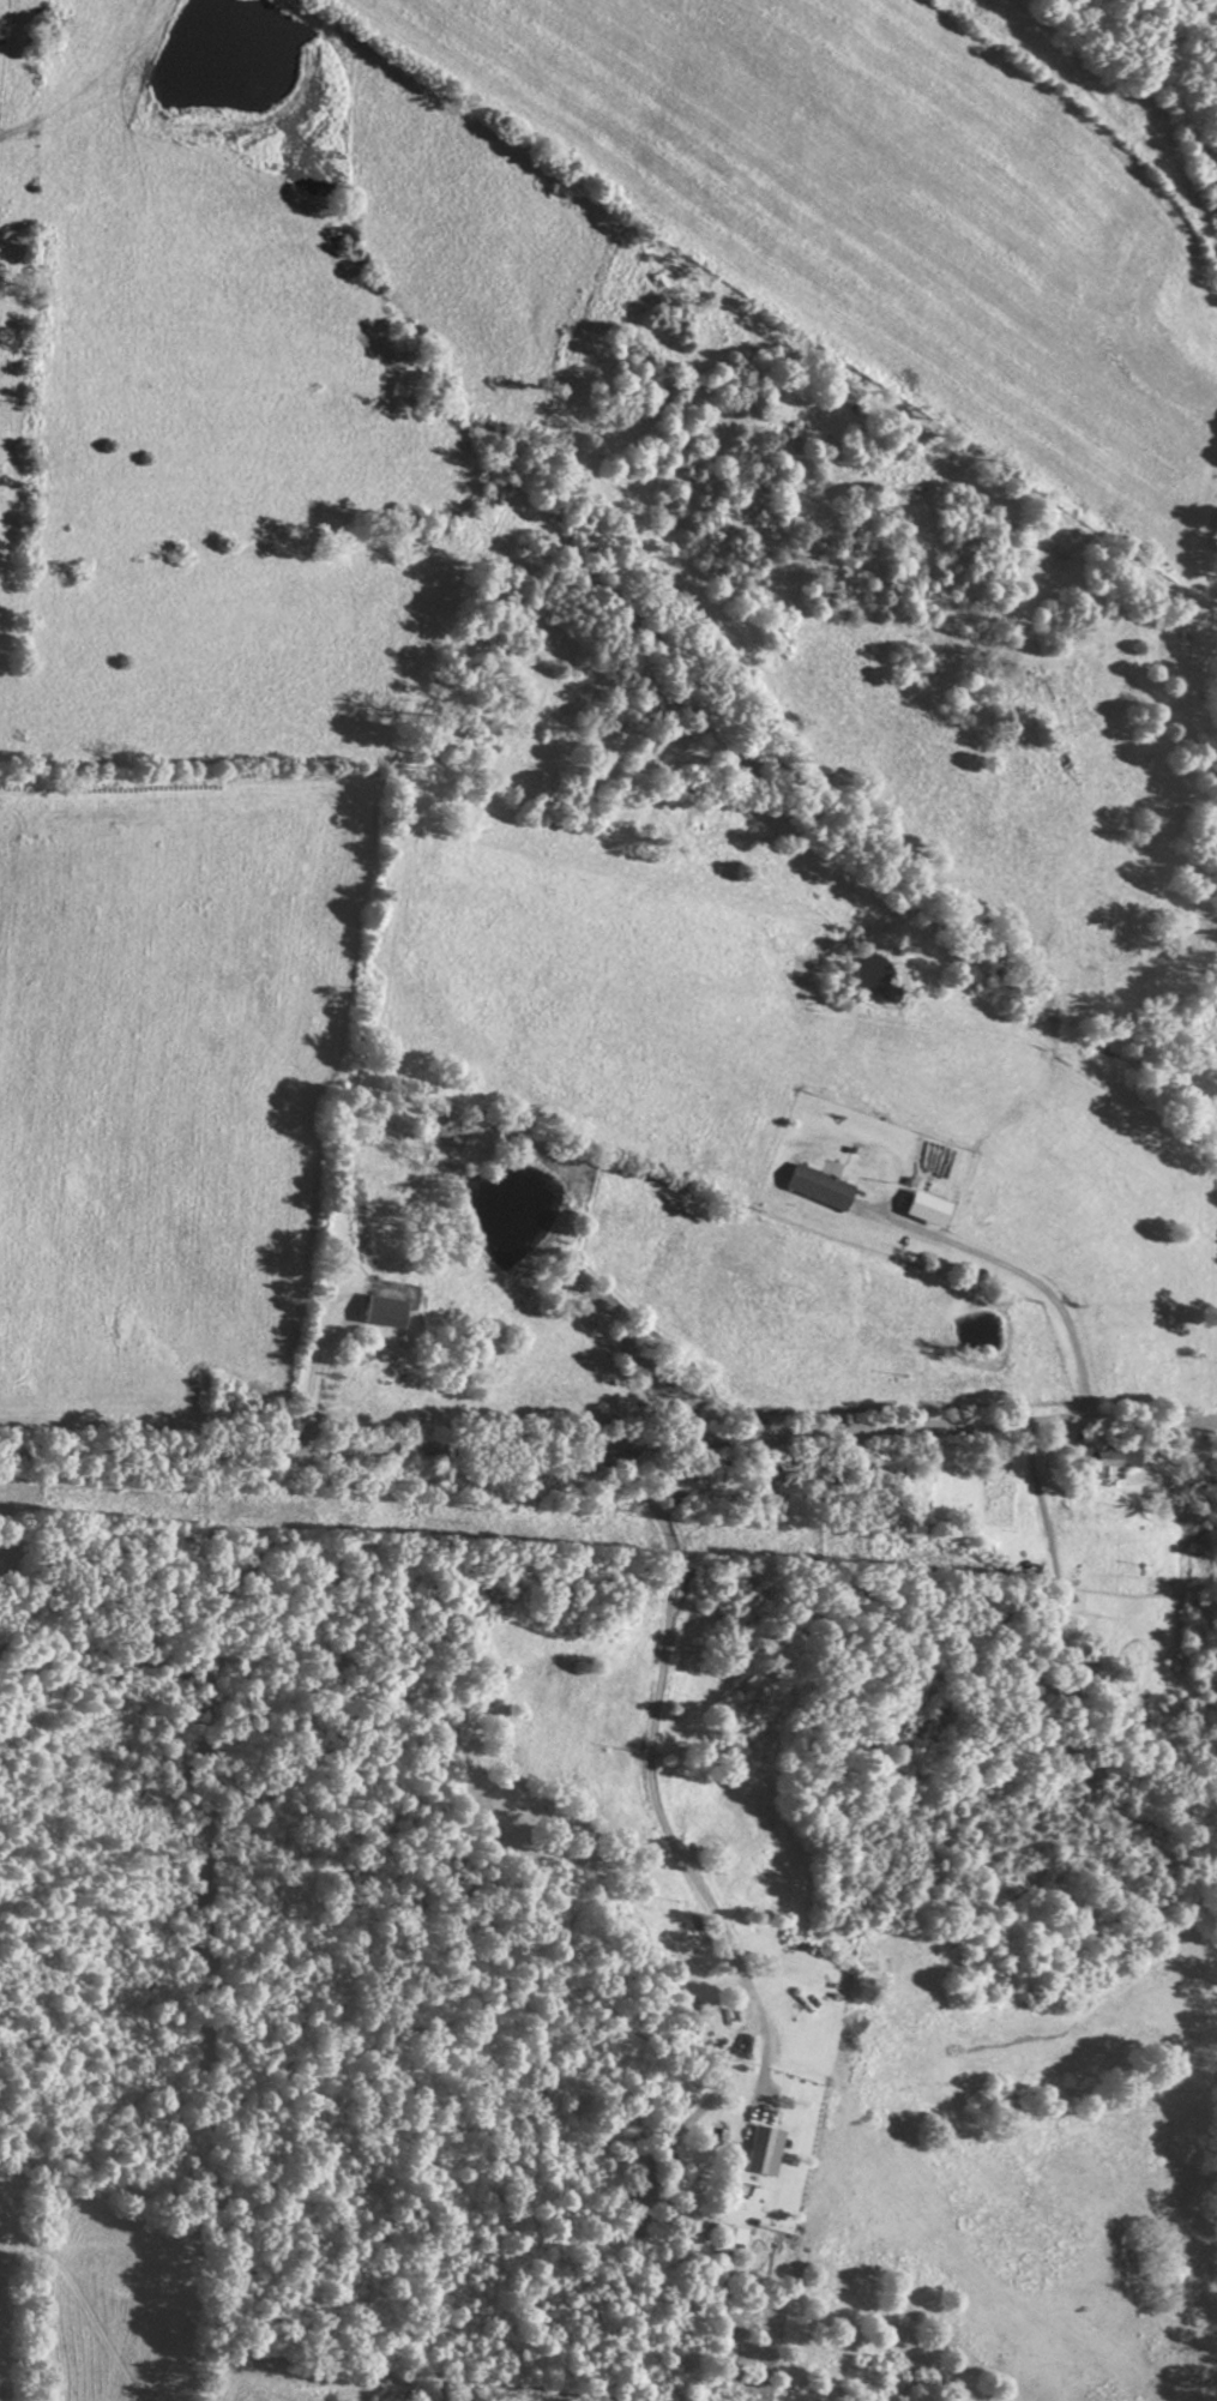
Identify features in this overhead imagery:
building: (815, 1185)
building: (379, 1310)
road: (608, 1437)
building: (1104, 1460)
road: (742, 1974)
building: (760, 2149)
road: (1175, 2393)

